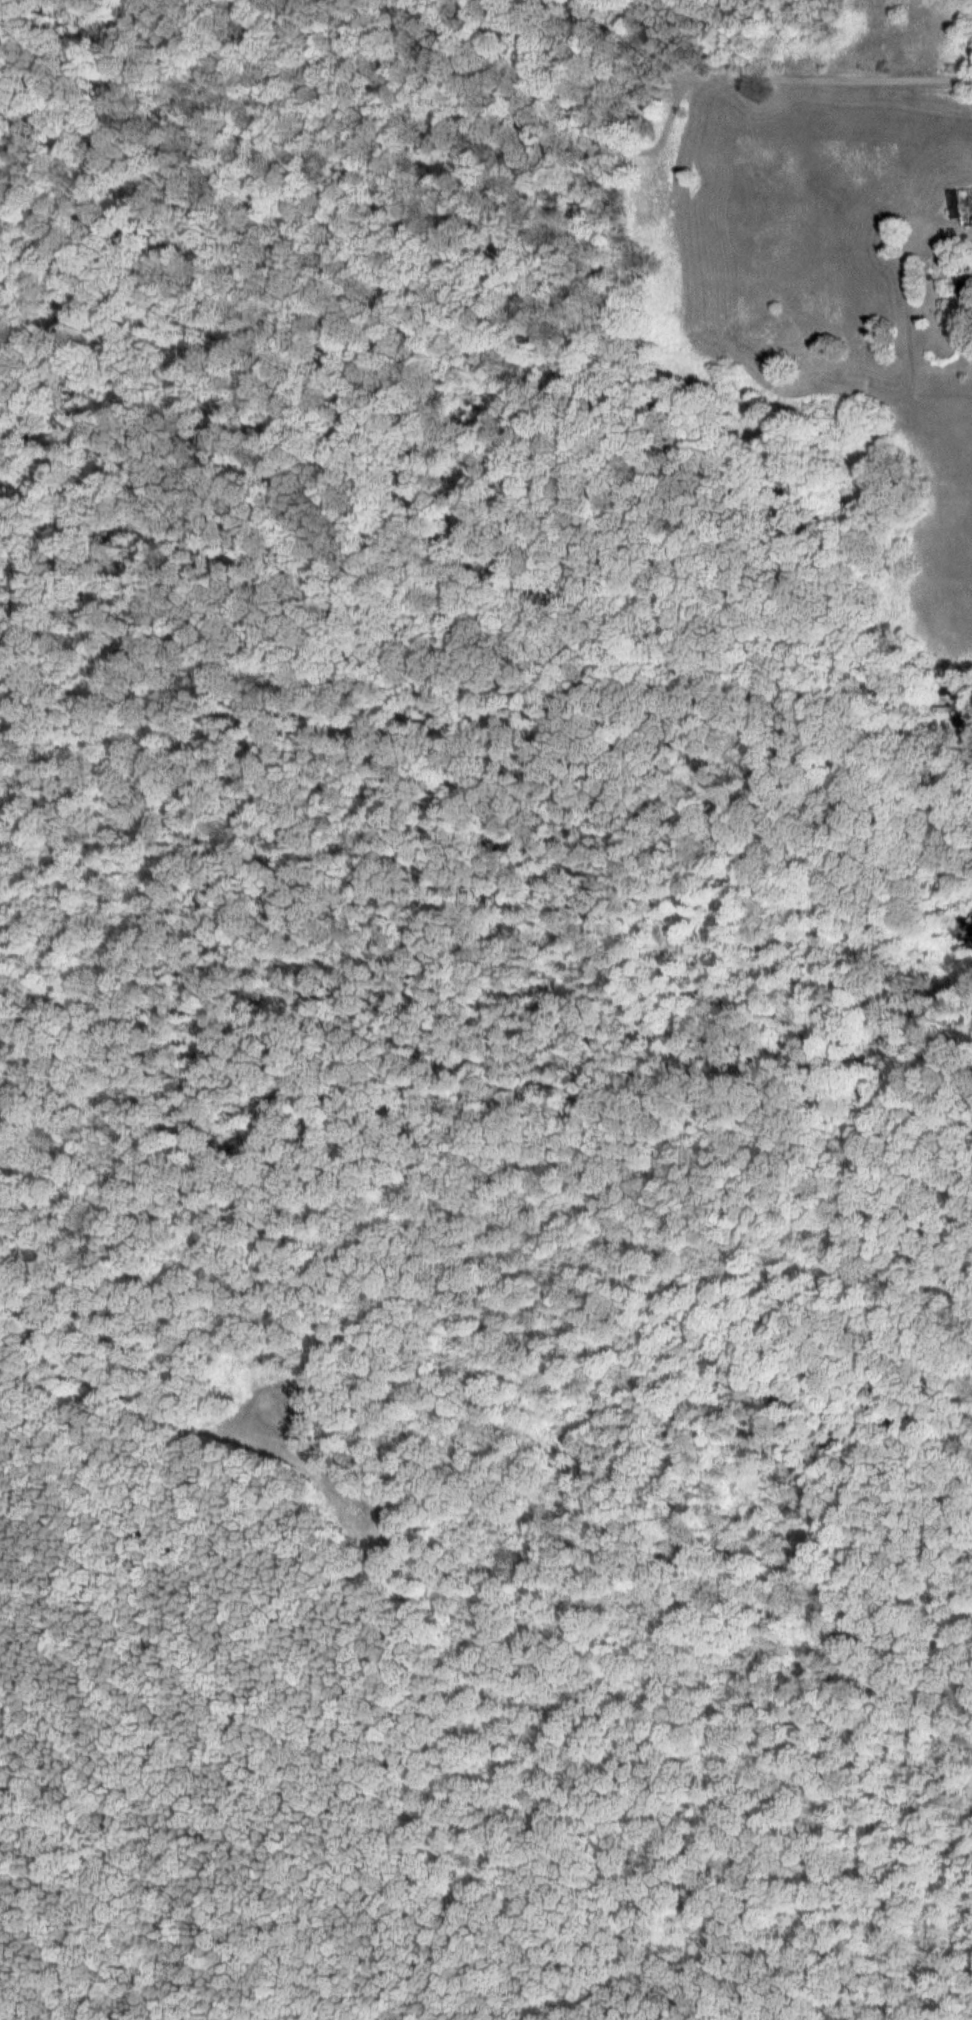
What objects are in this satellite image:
road: (749, 83)
building: (966, 205)

